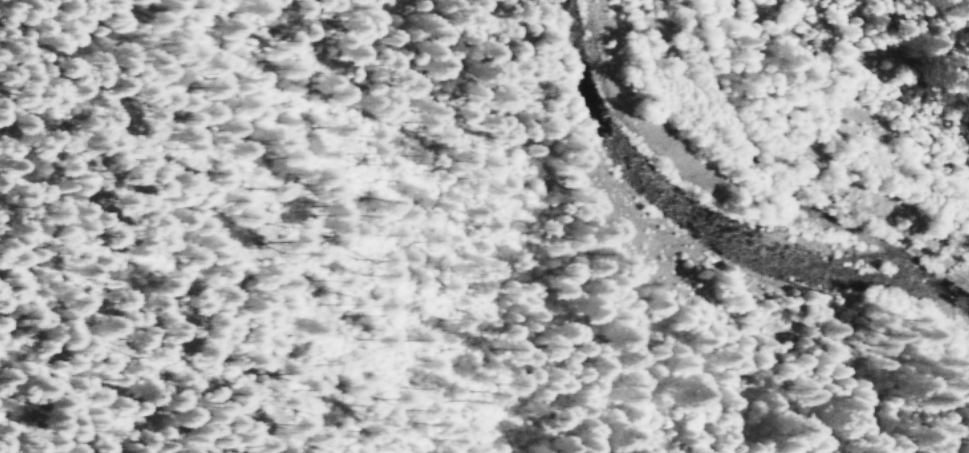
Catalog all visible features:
river: (709, 221)

